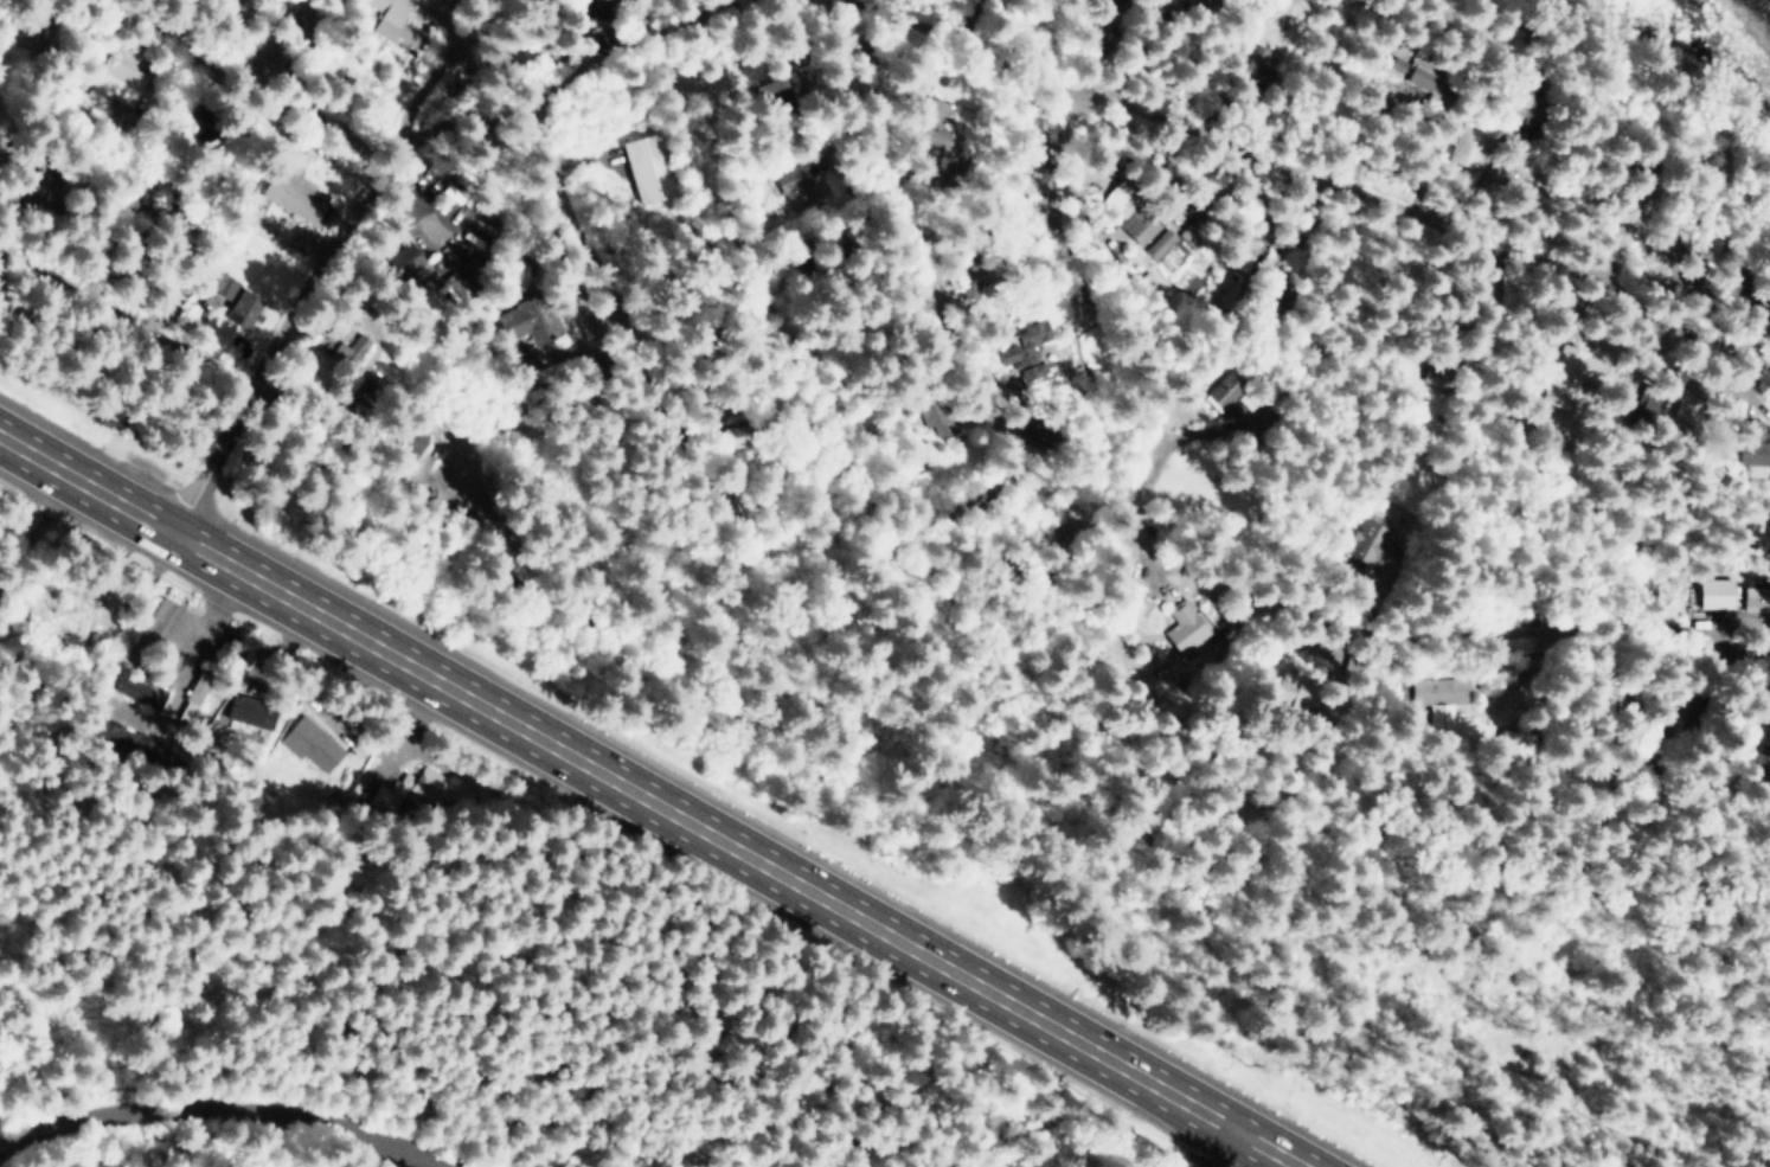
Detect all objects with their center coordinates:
building: (1115, 1)
building: (1197, 1)
building: (227, 6)
building: (396, 19)
building: (293, 21)
building: (19, 24)
river: (1729, 26)
building: (1251, 59)
building: (519, 60)
building: (1398, 65)
building: (1428, 76)
road: (44, 77)
road: (434, 79)
building: (771, 79)
building: (115, 81)
road: (243, 81)
building: (1525, 105)
building: (932, 136)
building: (1468, 143)
building: (624, 148)
building: (210, 156)
building: (954, 167)
building: (648, 168)
road: (378, 177)
road: (1309, 177)
building: (793, 180)
building: (38, 191)
building: (295, 194)
building: (1123, 197)
road: (567, 216)
building: (1139, 223)
building: (1192, 233)
building: (1159, 242)
building: (1240, 252)
building: (406, 259)
building: (1702, 268)
building: (466, 277)
building: (969, 280)
building: (223, 284)
building: (1276, 294)
building: (245, 306)
road: (127, 315)
building: (527, 319)
building: (1028, 331)
building: (354, 347)
building: (1031, 365)
building: (1570, 372)
building: (1436, 376)
building: (1221, 389)
building: (360, 395)
building: (1688, 404)
building: (1644, 409)
building: (936, 415)
building: (744, 424)
building: (1051, 432)
building: (1753, 453)
building: (1364, 538)
road: (1136, 547)
building: (1717, 594)
building: (1756, 594)
building: (160, 616)
building: (89, 623)
building: (1185, 623)
road: (631, 654)
road: (190, 661)
building: (142, 688)
building: (1294, 692)
building: (204, 694)
building: (1438, 698)
building: (1670, 710)
building: (251, 712)
building: (128, 739)
building: (312, 743)
building: (1515, 746)
building: (1761, 758)
building: (411, 788)
road: (649, 800)
road: (225, 1114)
road: (1226, 1149)
road: (1766, 1161)

